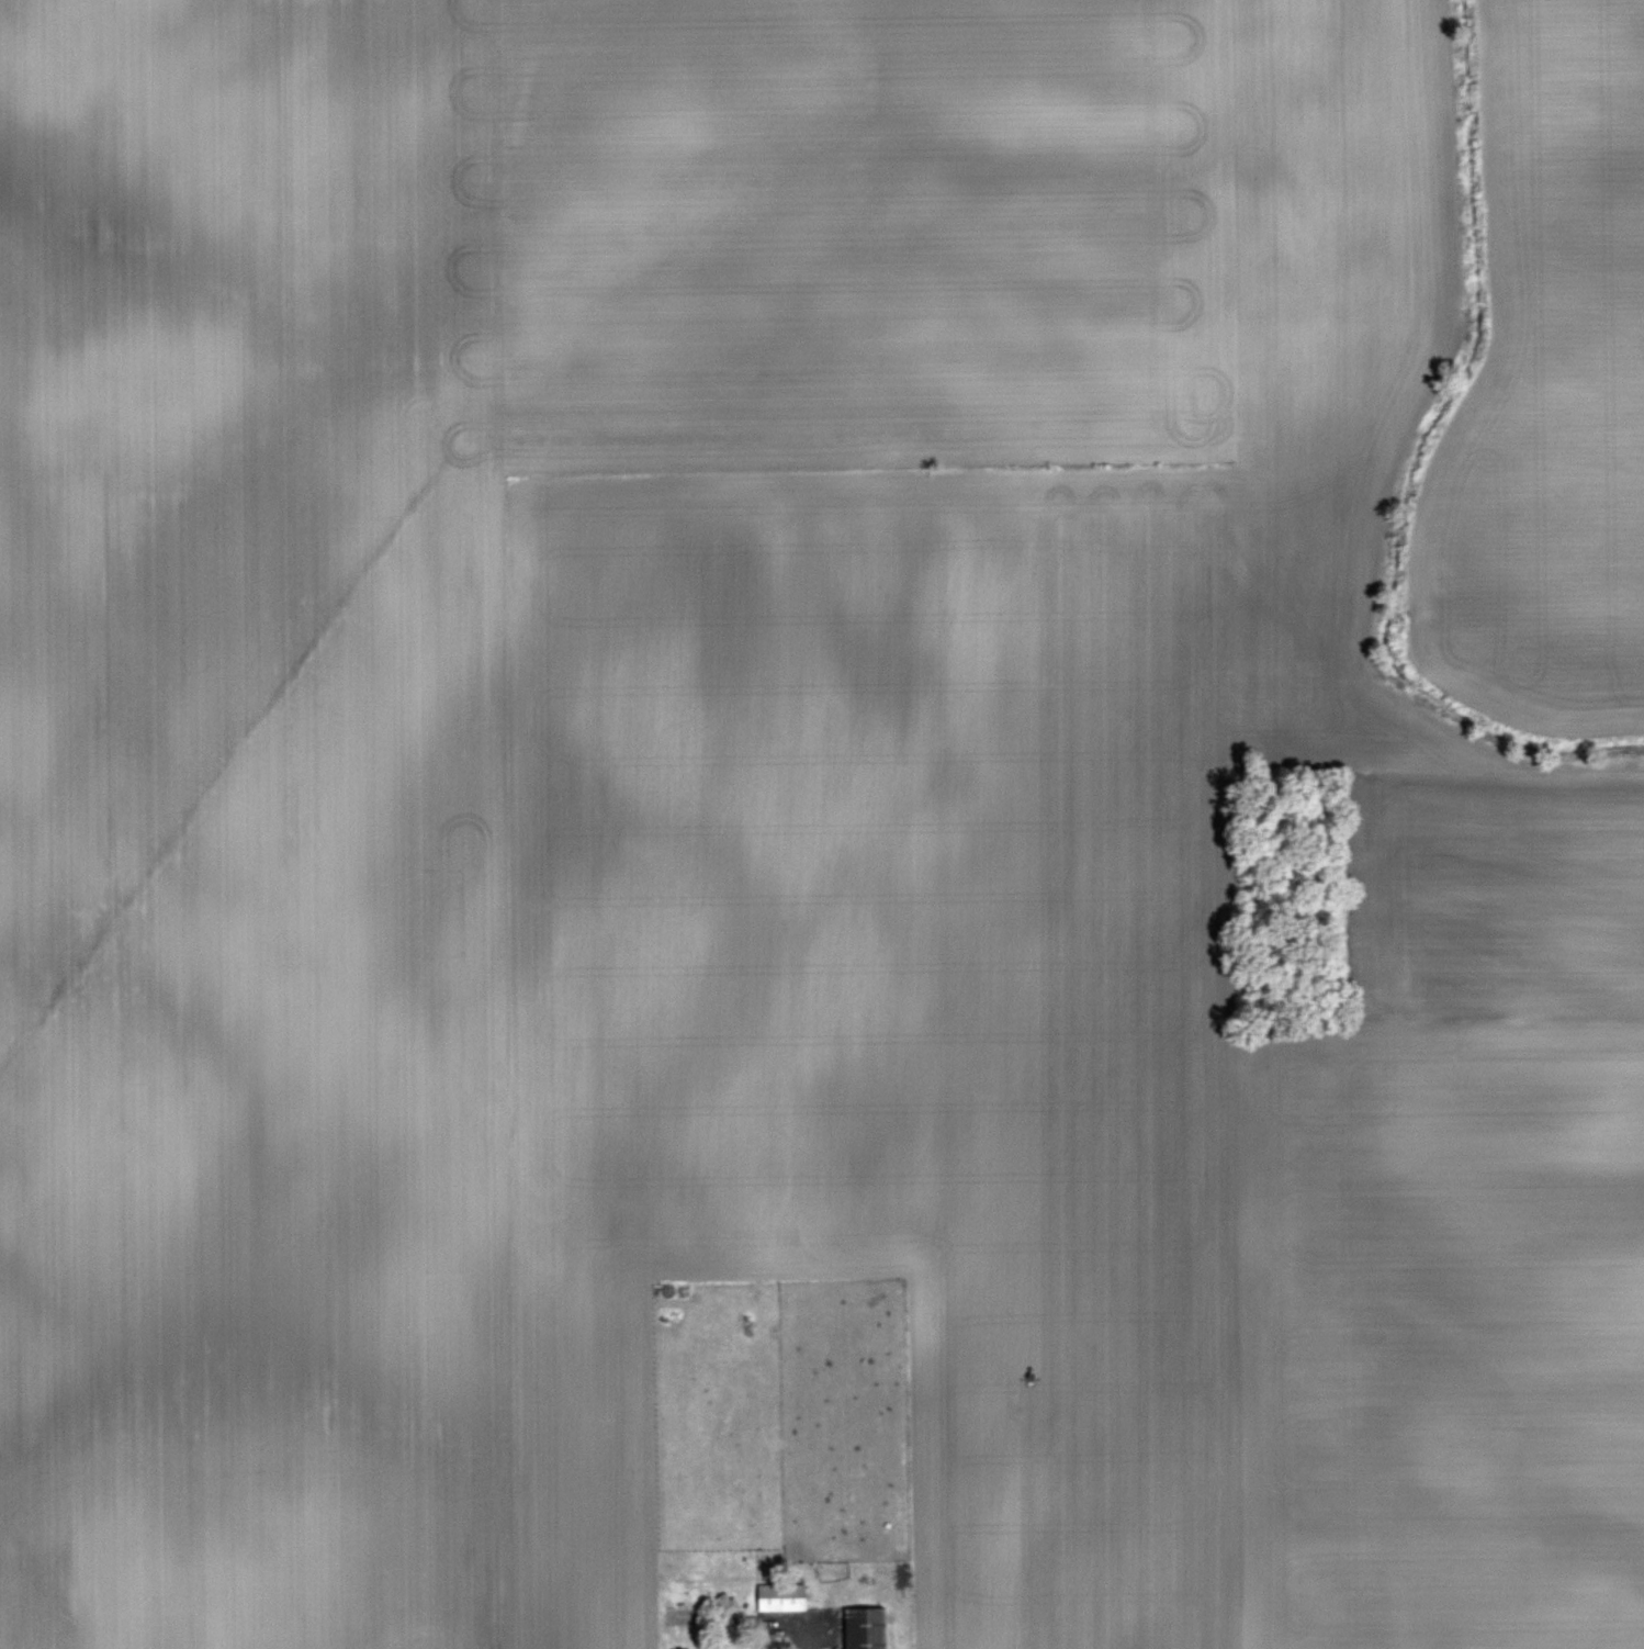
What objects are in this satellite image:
building: (784, 1596)
building: (867, 1628)

